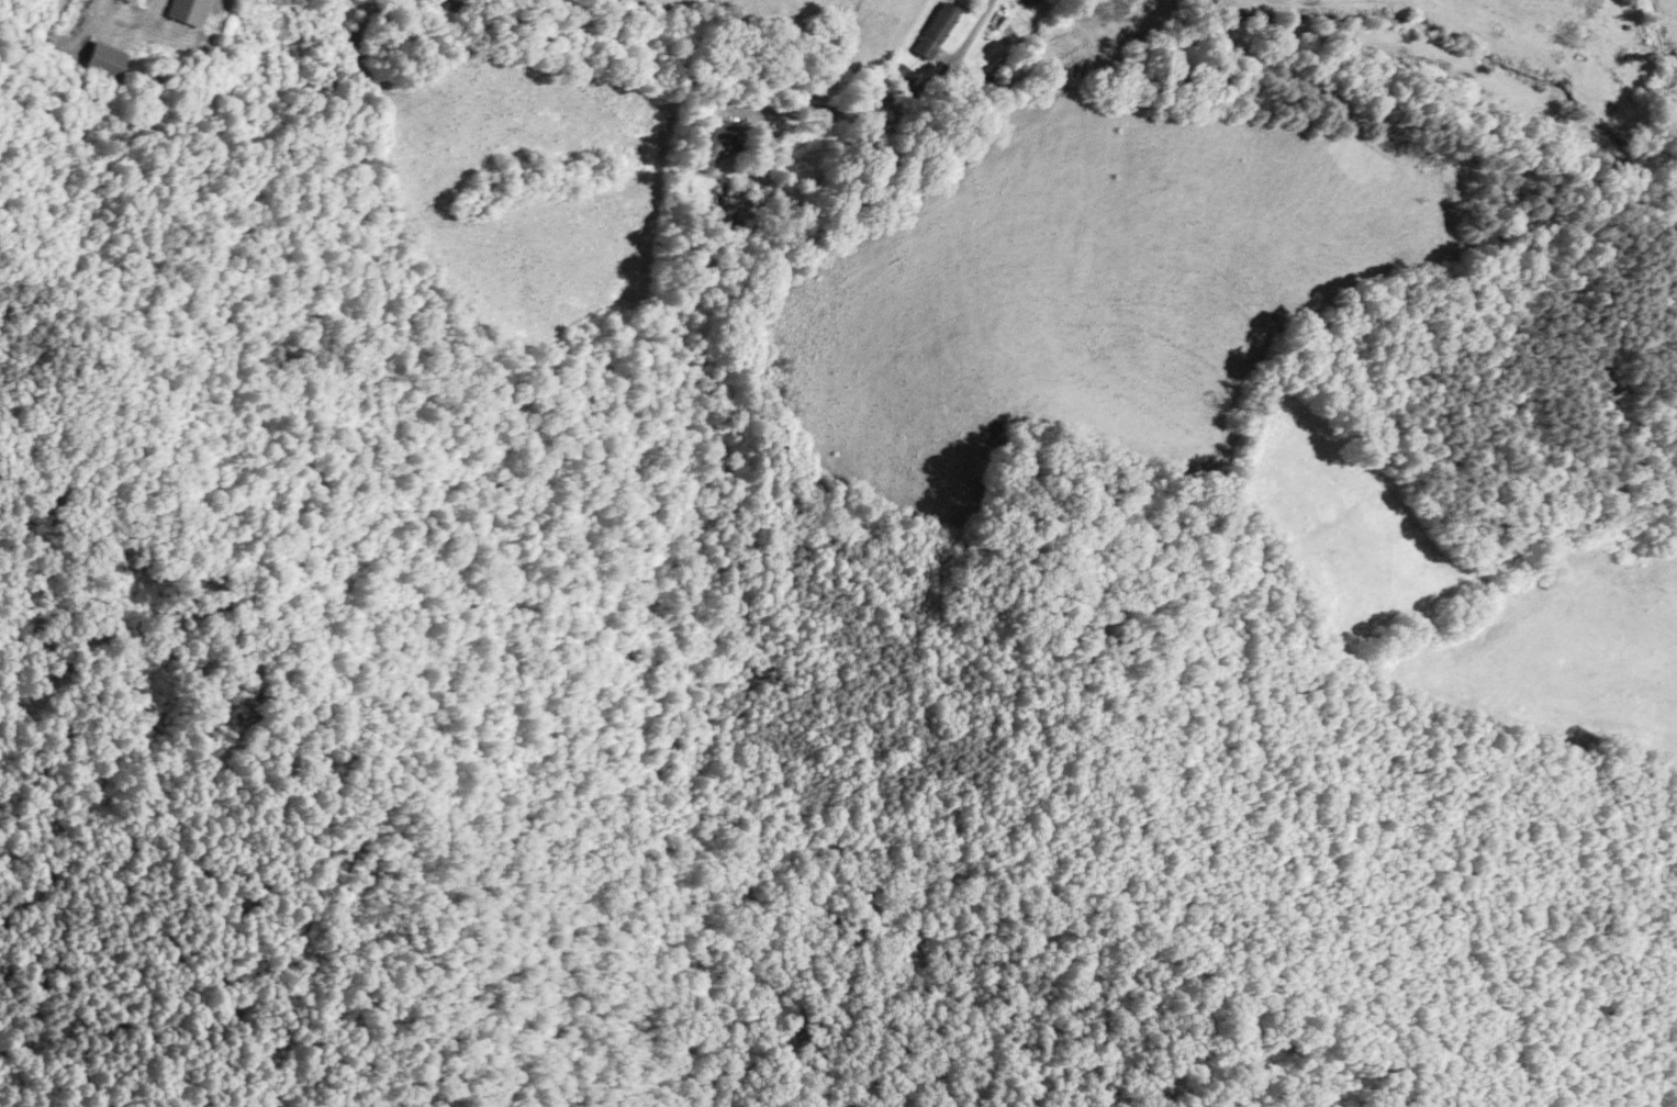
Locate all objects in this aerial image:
building: (1033, 0)
building: (127, 1)
building: (183, 12)
building: (935, 29)
road: (966, 35)
building: (99, 62)
road: (847, 110)
building: (714, 150)

